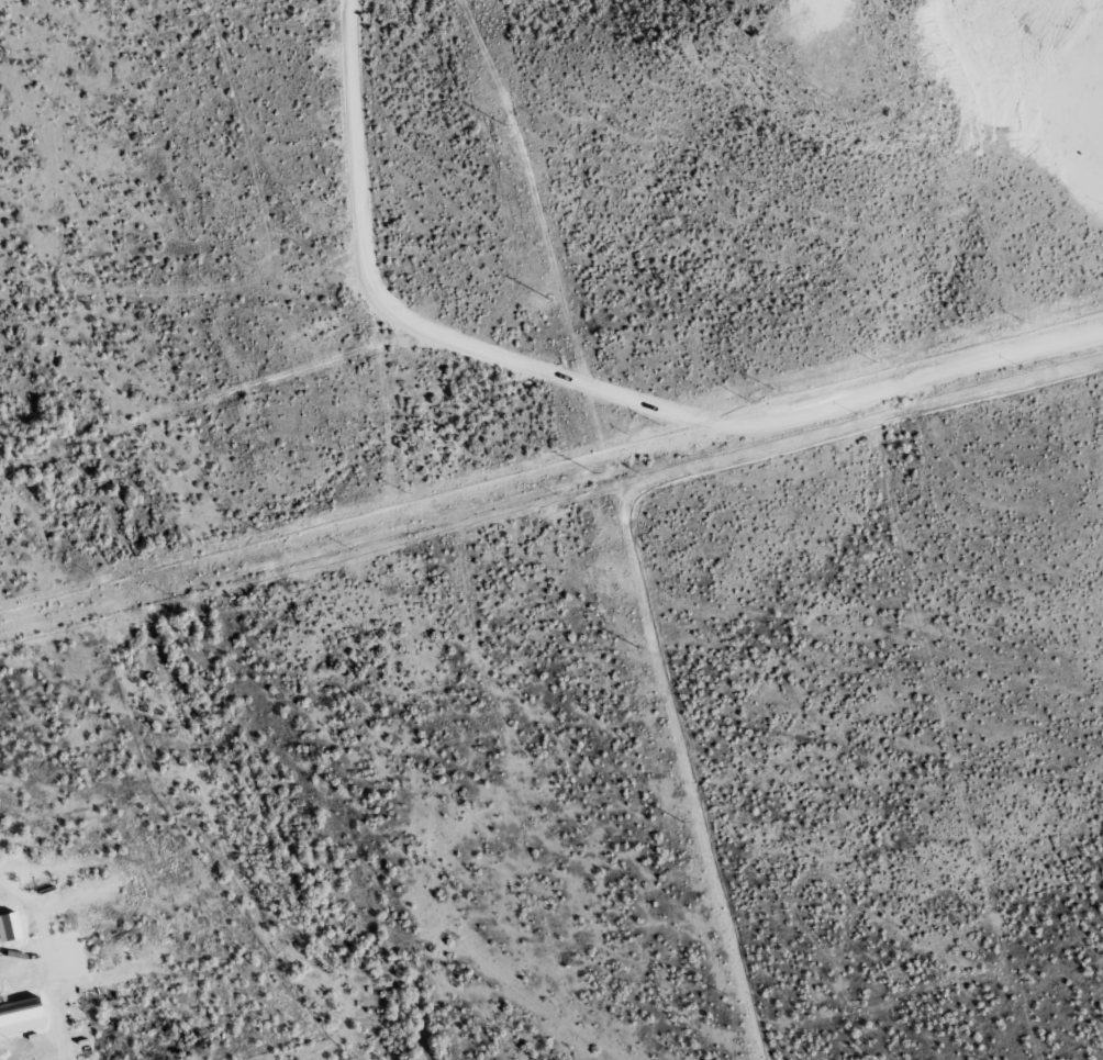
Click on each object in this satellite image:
road: (18, 80)
road: (480, 384)
road: (180, 411)
building: (102, 917)
building: (18, 1007)
road: (22, 1007)

